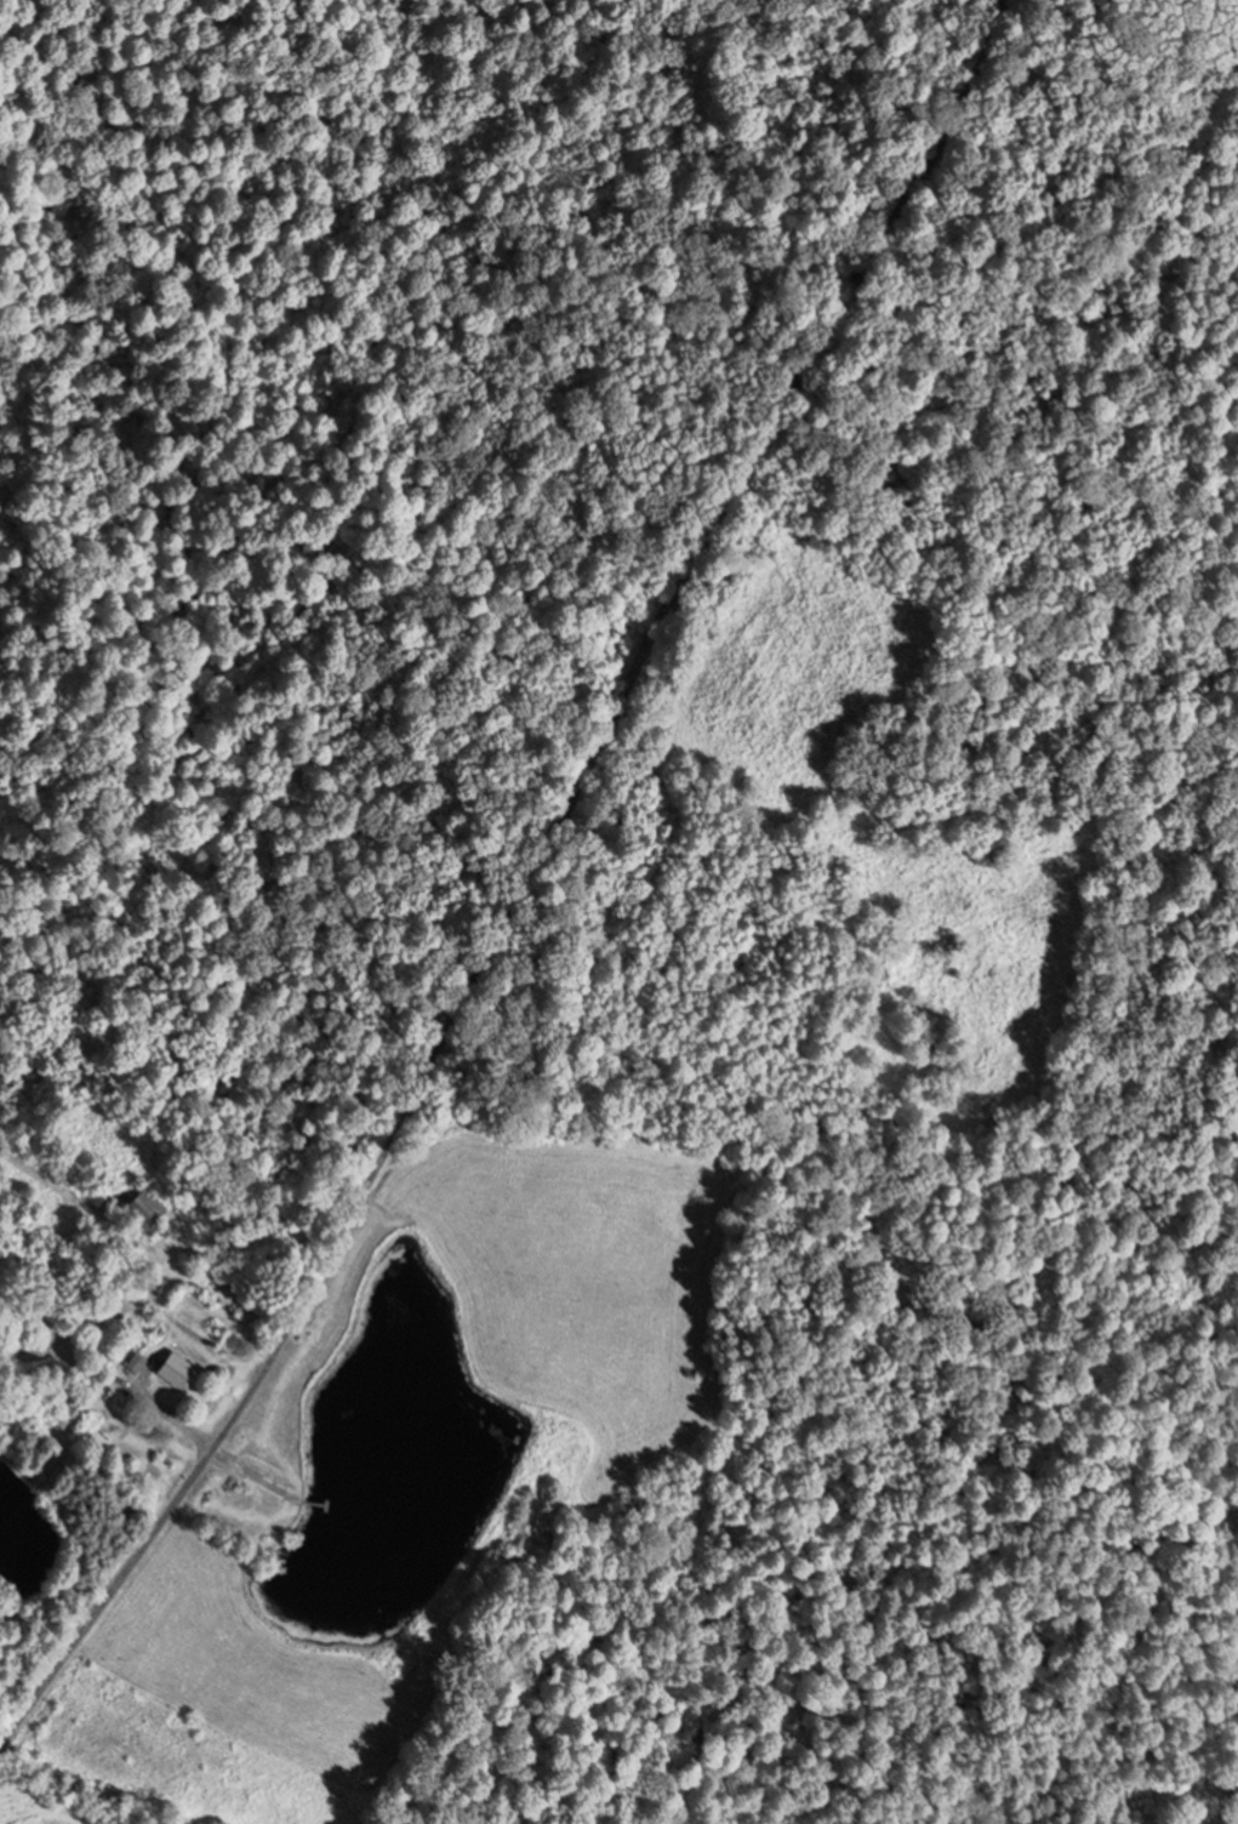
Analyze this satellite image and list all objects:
road: (524, 888)

